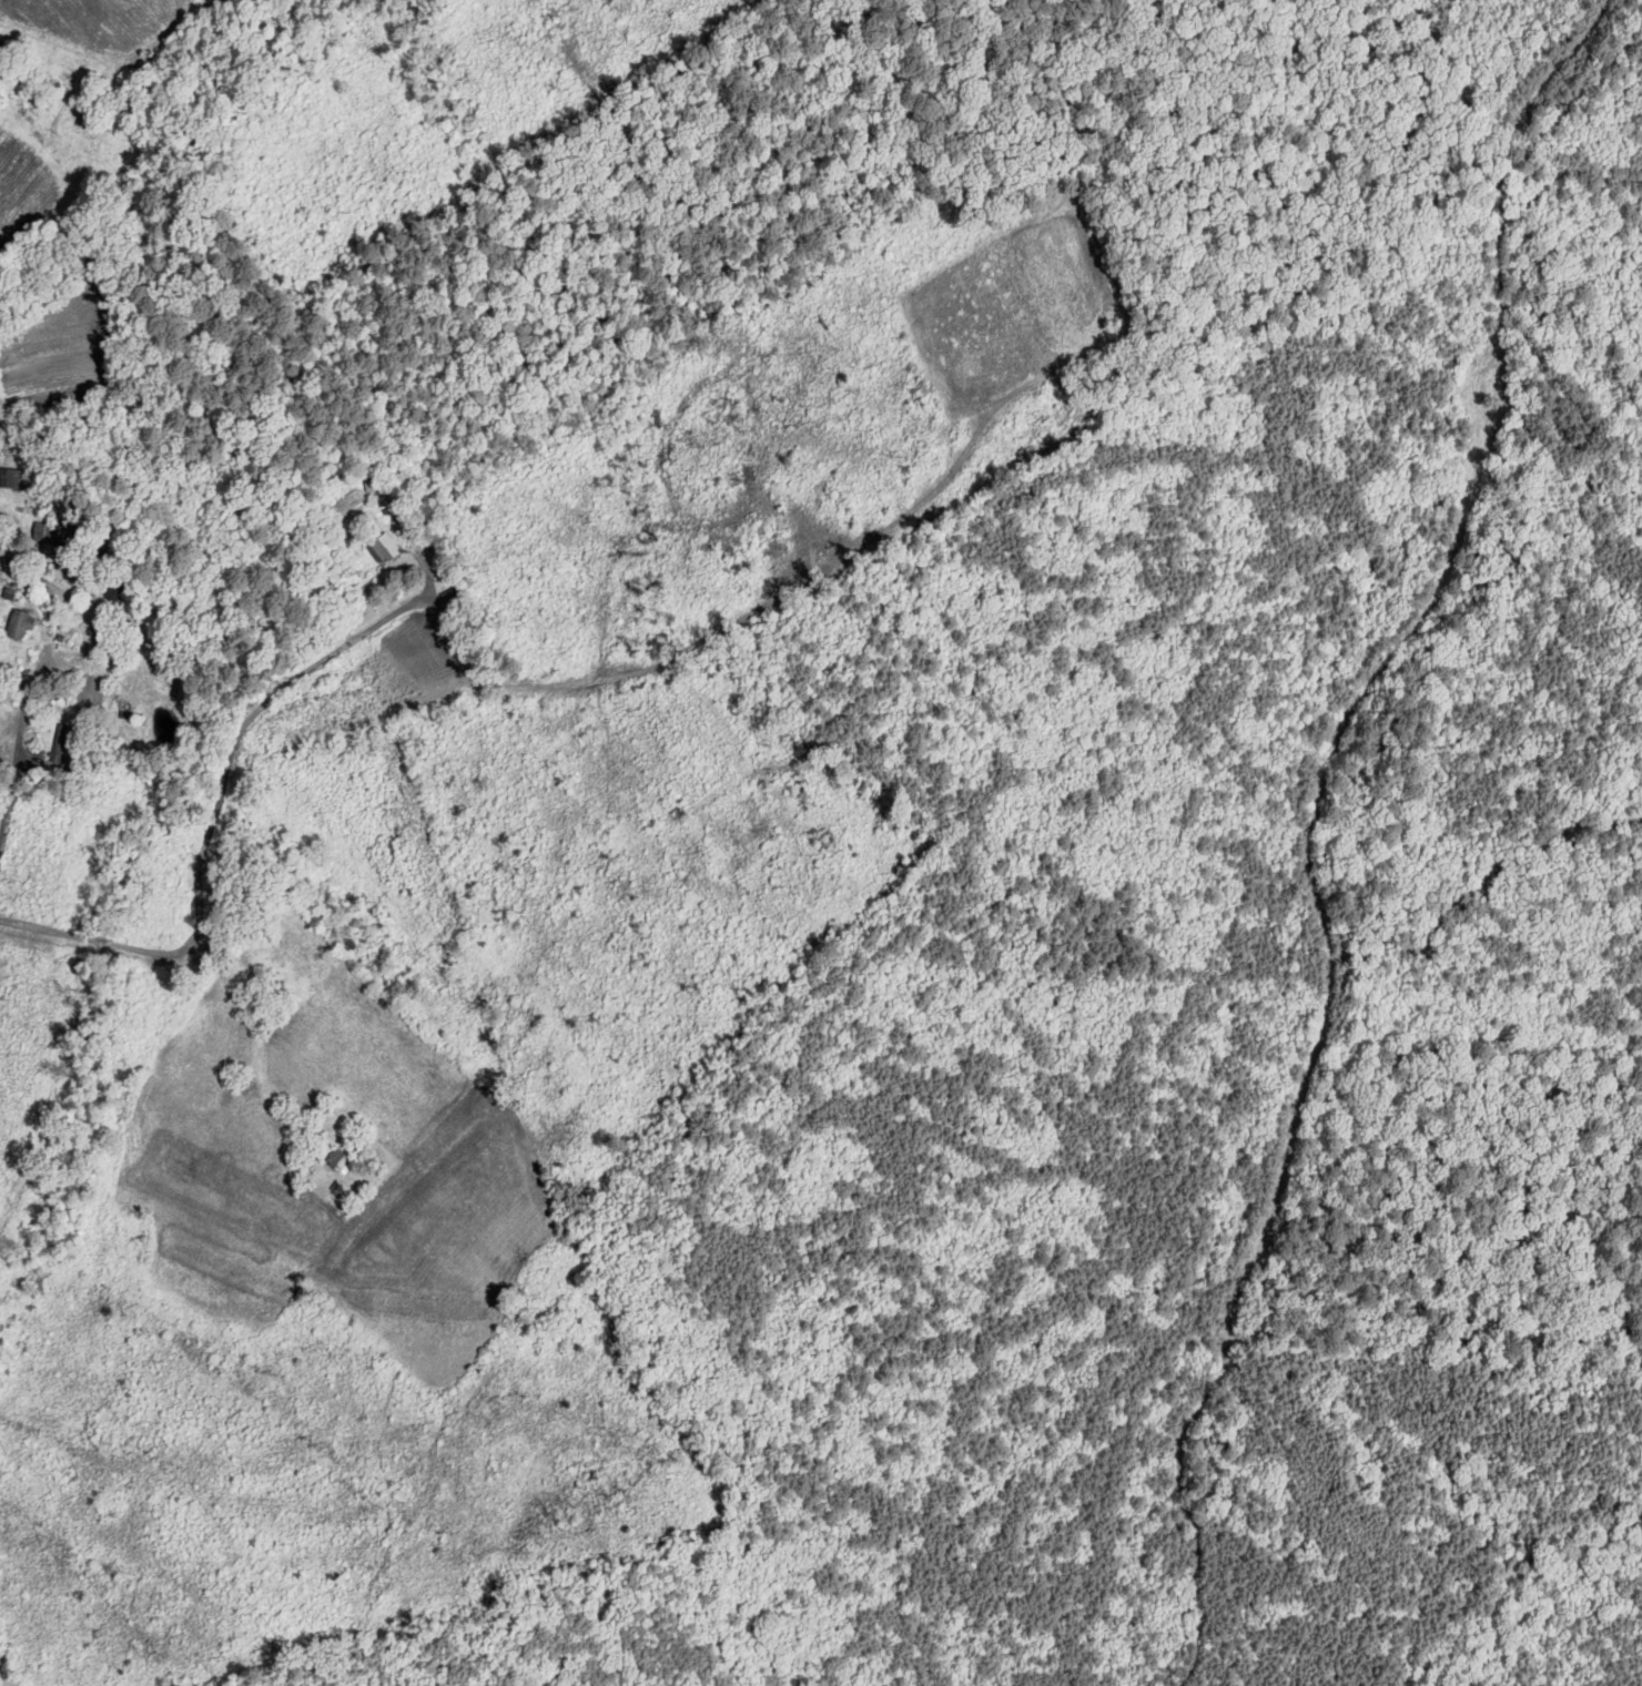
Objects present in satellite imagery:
building: (10, 478)
building: (42, 531)
building: (382, 548)
building: (18, 623)
road: (11, 774)

